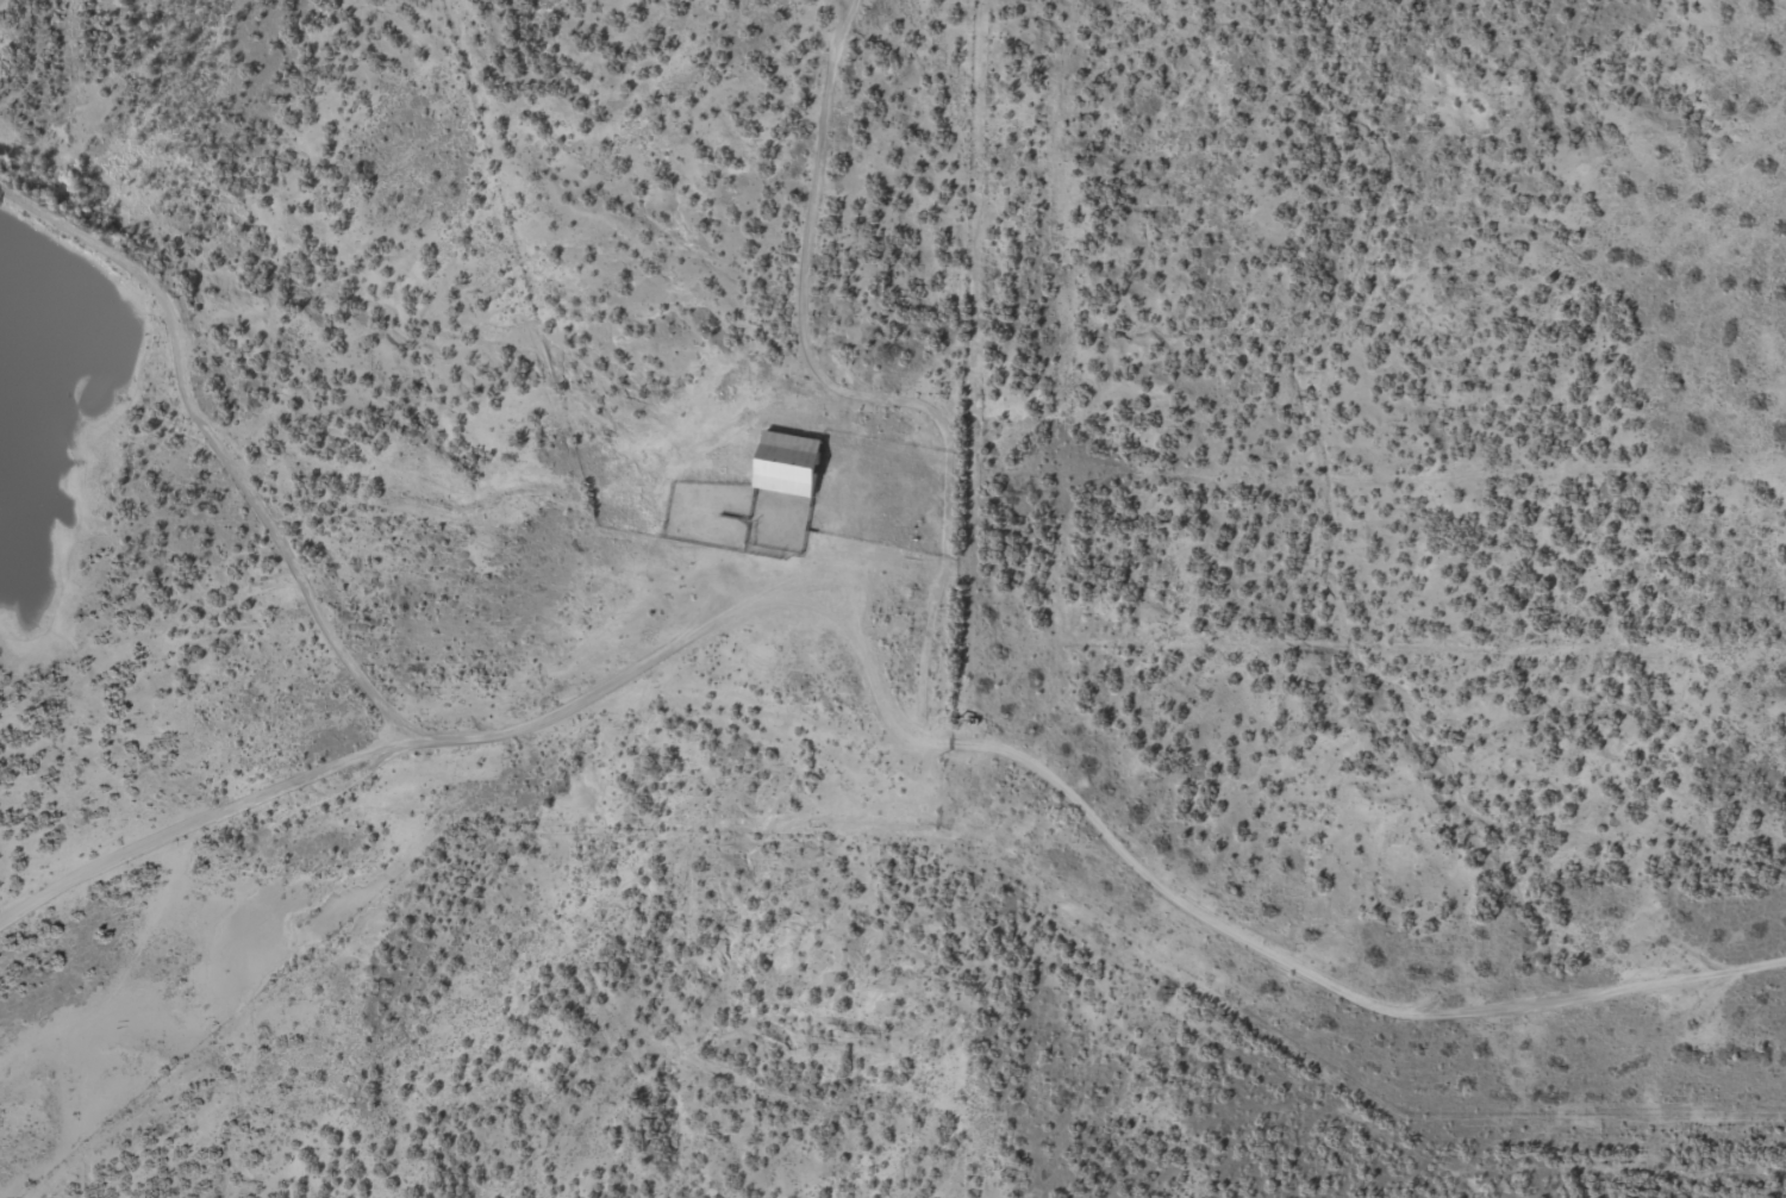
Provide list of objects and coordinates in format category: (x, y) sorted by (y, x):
road: (180, 439)
building: (789, 463)
road: (899, 735)
road: (435, 747)

